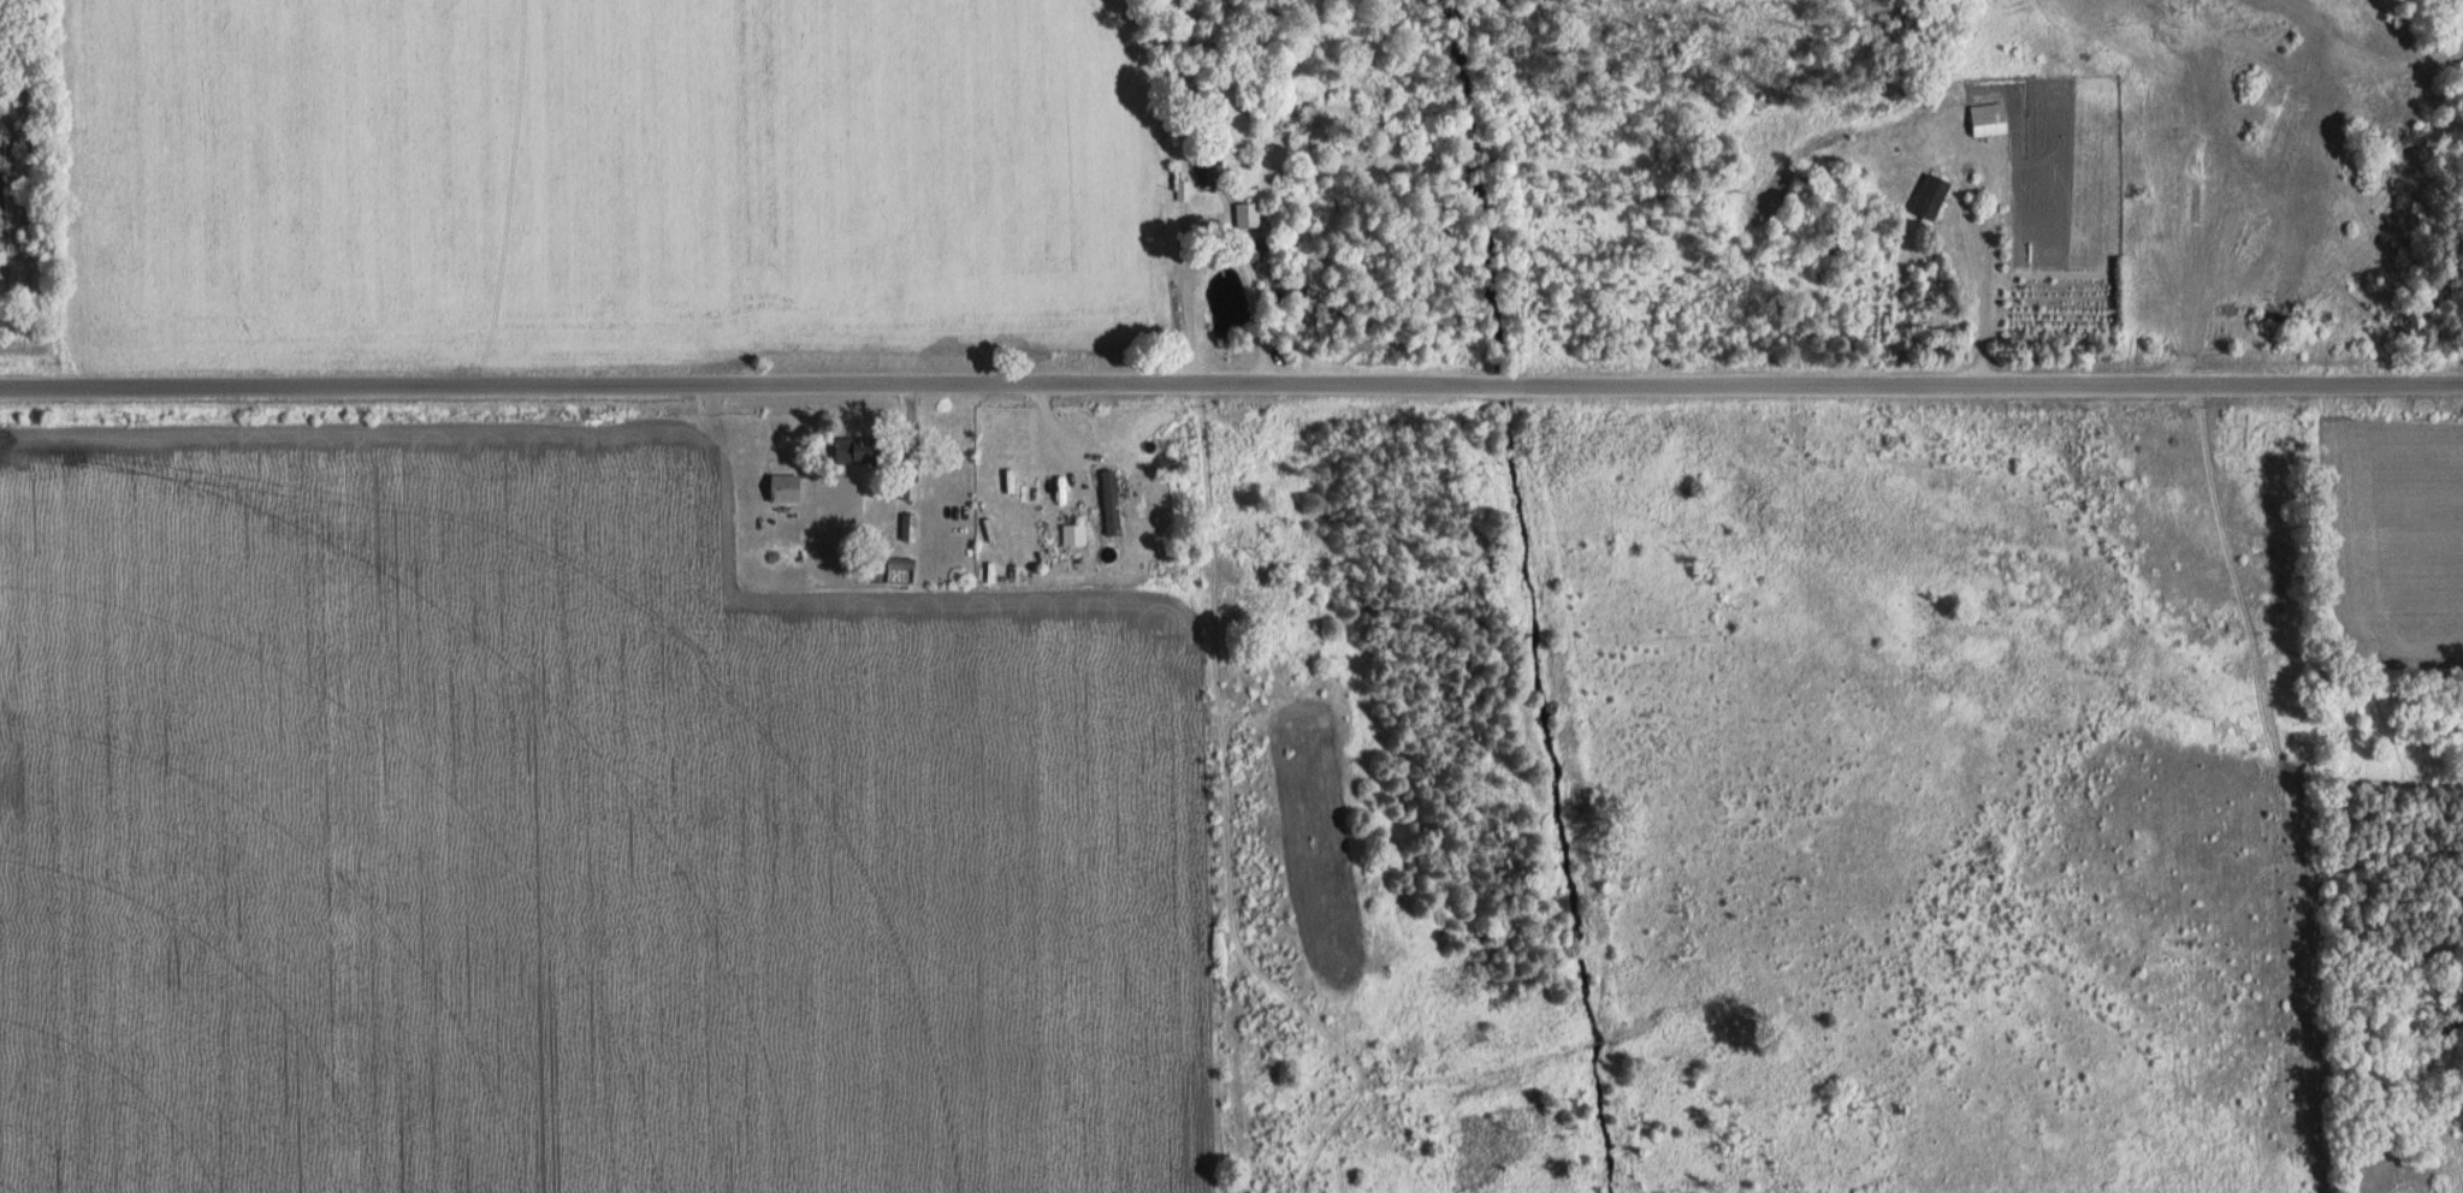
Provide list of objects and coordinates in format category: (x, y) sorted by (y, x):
building: (1989, 119)
road: (1994, 177)
park: (8, 186)
building: (1931, 197)
building: (1248, 215)
road: (1203, 242)
road: (1244, 244)
building: (2, 257)
road: (1251, 283)
road: (1184, 298)
road: (2220, 385)
road: (1622, 386)
road: (633, 388)
building: (870, 451)
building: (786, 487)
building: (1112, 503)
building: (1074, 534)

